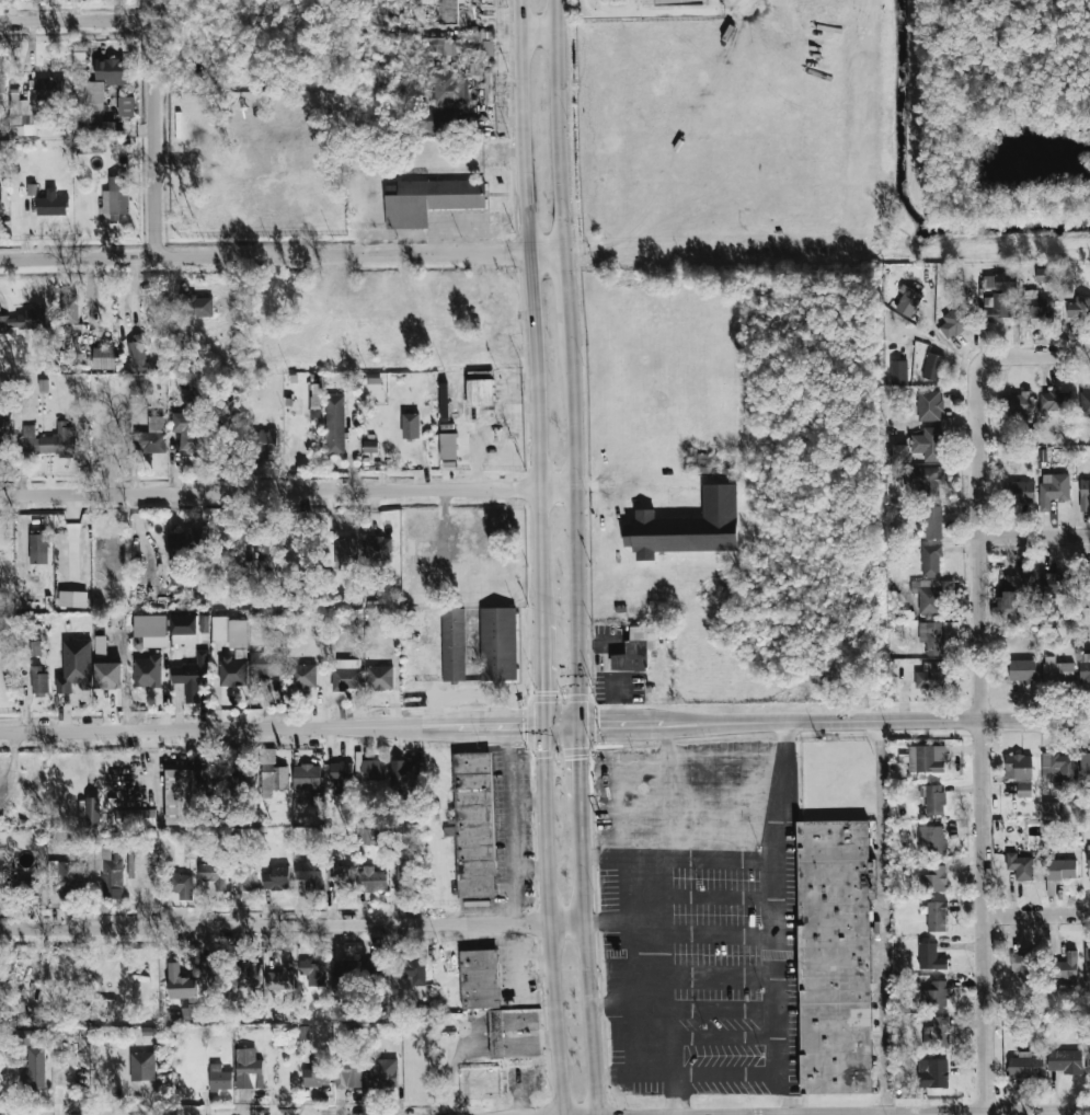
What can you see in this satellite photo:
building: (678, 1)
road: (635, 5)
road: (678, 10)
building: (448, 11)
road: (610, 11)
road: (77, 20)
road: (540, 33)
building: (482, 43)
building: (444, 46)
building: (1, 74)
building: (96, 80)
building: (447, 88)
building: (48, 89)
building: (125, 106)
building: (21, 119)
building: (428, 120)
road: (562, 125)
road: (156, 127)
building: (97, 129)
building: (31, 189)
building: (116, 197)
building: (417, 199)
building: (0, 202)
building: (51, 204)
road: (284, 254)
building: (1046, 275)
building: (999, 281)
building: (908, 301)
road: (571, 303)
building: (1039, 307)
building: (194, 308)
road: (531, 308)
building: (999, 308)
building: (1079, 308)
building: (70, 309)
building: (22, 321)
building: (953, 324)
building: (136, 353)
road: (1013, 355)
building: (103, 358)
building: (932, 366)
building: (898, 373)
building: (480, 392)
building: (1054, 400)
building: (1017, 403)
building: (1085, 404)
building: (929, 405)
building: (334, 424)
building: (4, 425)
building: (411, 426)
building: (188, 432)
building: (151, 437)
building: (49, 441)
building: (263, 444)
building: (928, 444)
building: (369, 446)
building: (448, 446)
building: (899, 453)
building: (703, 463)
building: (926, 478)
building: (1053, 490)
building: (1020, 492)
building: (1085, 495)
road: (289, 497)
building: (931, 522)
building: (687, 527)
road: (1035, 536)
building: (185, 539)
road: (580, 541)
building: (38, 544)
building: (378, 550)
building: (345, 554)
building: (930, 561)
building: (268, 563)
building: (177, 572)
building: (1055, 583)
building: (1086, 588)
building: (1012, 595)
building: (929, 596)
building: (72, 599)
building: (184, 629)
building: (151, 630)
building: (230, 631)
building: (937, 635)
building: (479, 643)
building: (100, 647)
building: (35, 650)
building: (635, 650)
building: (268, 664)
building: (76, 667)
building: (1085, 667)
building: (1022, 670)
building: (1057, 670)
building: (147, 671)
building: (233, 671)
road: (542, 671)
building: (108, 676)
building: (192, 676)
building: (302, 676)
building: (930, 676)
building: (379, 677)
building: (38, 679)
building: (346, 679)
road: (466, 690)
traffic signals: (543, 698)
road: (1036, 717)
road: (782, 723)
traffic signals: (599, 726)
road: (563, 727)
traffic signals: (520, 728)
road: (271, 729)
road: (668, 748)
traffic signals: (583, 754)
building: (927, 759)
road: (984, 759)
building: (1019, 767)
building: (1059, 767)
building: (1085, 767)
building: (372, 770)
road: (619, 771)
building: (404, 773)
road: (583, 775)
building: (342, 778)
building: (275, 779)
building: (306, 782)
building: (1024, 790)
building: (179, 796)
building: (933, 798)
road: (527, 801)
building: (92, 811)
road: (695, 812)
building: (136, 817)
building: (473, 825)
road: (508, 825)
building: (368, 836)
building: (931, 840)
road: (679, 857)
building: (1088, 857)
building: (106, 864)
road: (529, 866)
building: (1020, 866)
building: (1060, 870)
building: (310, 871)
building: (214, 875)
building: (341, 875)
building: (71, 876)
building: (277, 877)
building: (371, 878)
building: (245, 880)
building: (934, 880)
building: (182, 885)
building: (28, 887)
road: (719, 898)
road: (1037, 912)
building: (937, 916)
road: (884, 917)
parking lot: (699, 918)
road: (548, 921)
road: (623, 922)
road: (662, 923)
road: (292, 926)
road: (720, 935)
building: (835, 956)
building: (930, 957)
building: (1087, 962)
road: (533, 965)
building: (1025, 965)
building: (1066, 967)
building: (344, 969)
building: (413, 969)
road: (587, 969)
building: (313, 974)
building: (246, 975)
road: (516, 975)
building: (282, 978)
road: (724, 978)
building: (479, 980)
building: (217, 981)
building: (181, 985)
road: (778, 990)
building: (934, 993)
road: (632, 999)
road: (632, 1003)
building: (102, 1010)
road: (726, 1011)
building: (303, 1032)
building: (940, 1034)
road: (726, 1037)
building: (32, 1057)
building: (1088, 1057)
building: (2, 1060)
building: (1065, 1061)
building: (142, 1066)
building: (1025, 1066)
building: (249, 1069)
building: (934, 1072)
building: (317, 1073)
building: (383, 1073)
building: (348, 1076)
building: (220, 1079)
road: (788, 1093)
road: (675, 1095)
road: (950, 1113)
road: (879, 1114)

